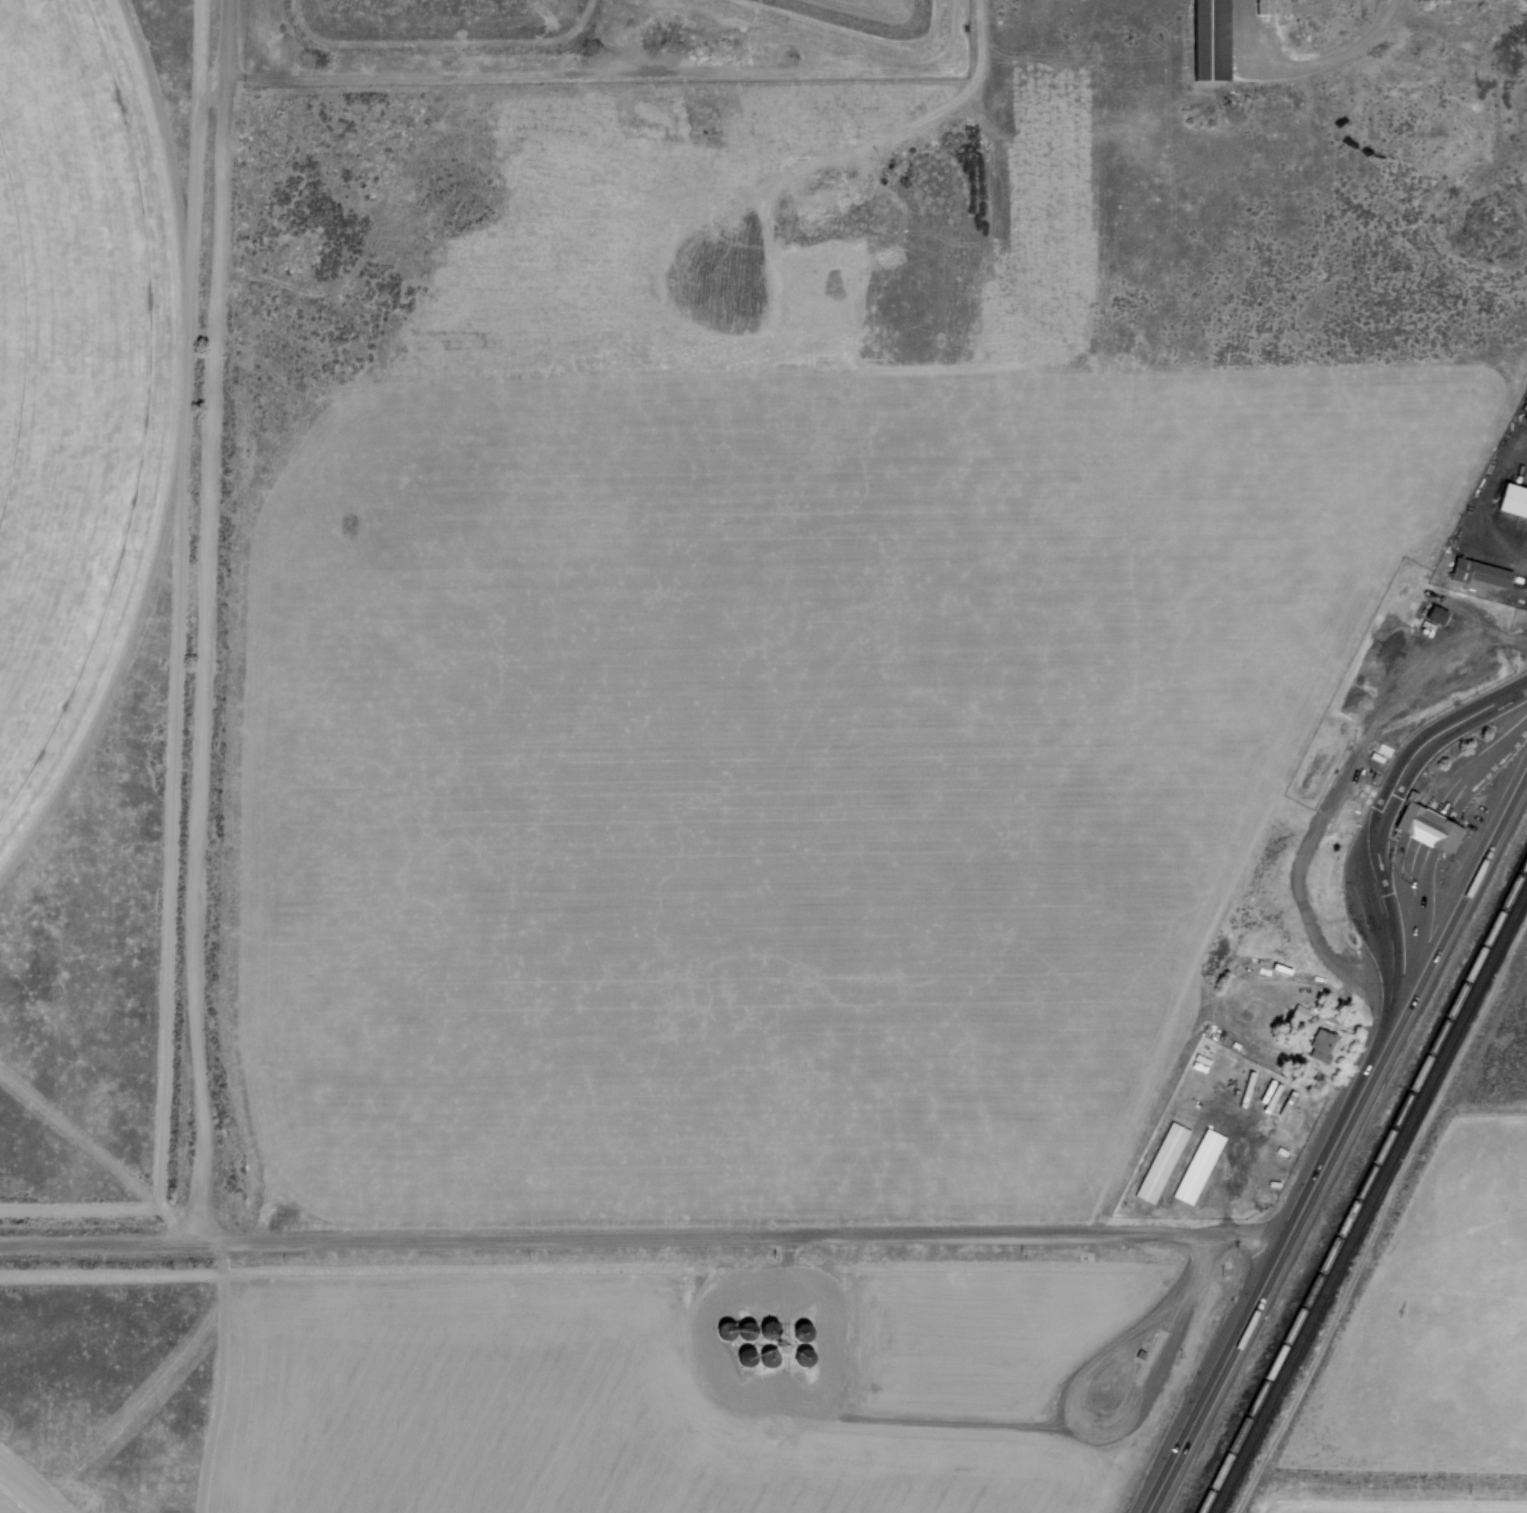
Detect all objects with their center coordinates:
building: (1424, 0)
wastewater plant: (863, 14)
wastewater plant: (450, 16)
building: (1205, 40)
building: (1511, 502)
building: (1481, 574)
building: (1435, 614)
road: (213, 625)
road: (1477, 766)
building: (1412, 797)
road: (1379, 819)
building: (1429, 827)
road: (1453, 925)
road: (1413, 956)
building: (1298, 1011)
building: (1319, 1038)
building: (1159, 1162)
building: (1196, 1165)
railway: (1360, 1181)
railway: (1378, 1208)
road: (638, 1241)
road: (786, 1262)
road: (1252, 1288)
storage tank: (725, 1330)
storage tank: (748, 1330)
storage tank: (771, 1330)
storage tank: (803, 1331)
storage tank: (745, 1356)
storage tank: (804, 1356)
storage tank: (768, 1357)
road: (845, 1405)

